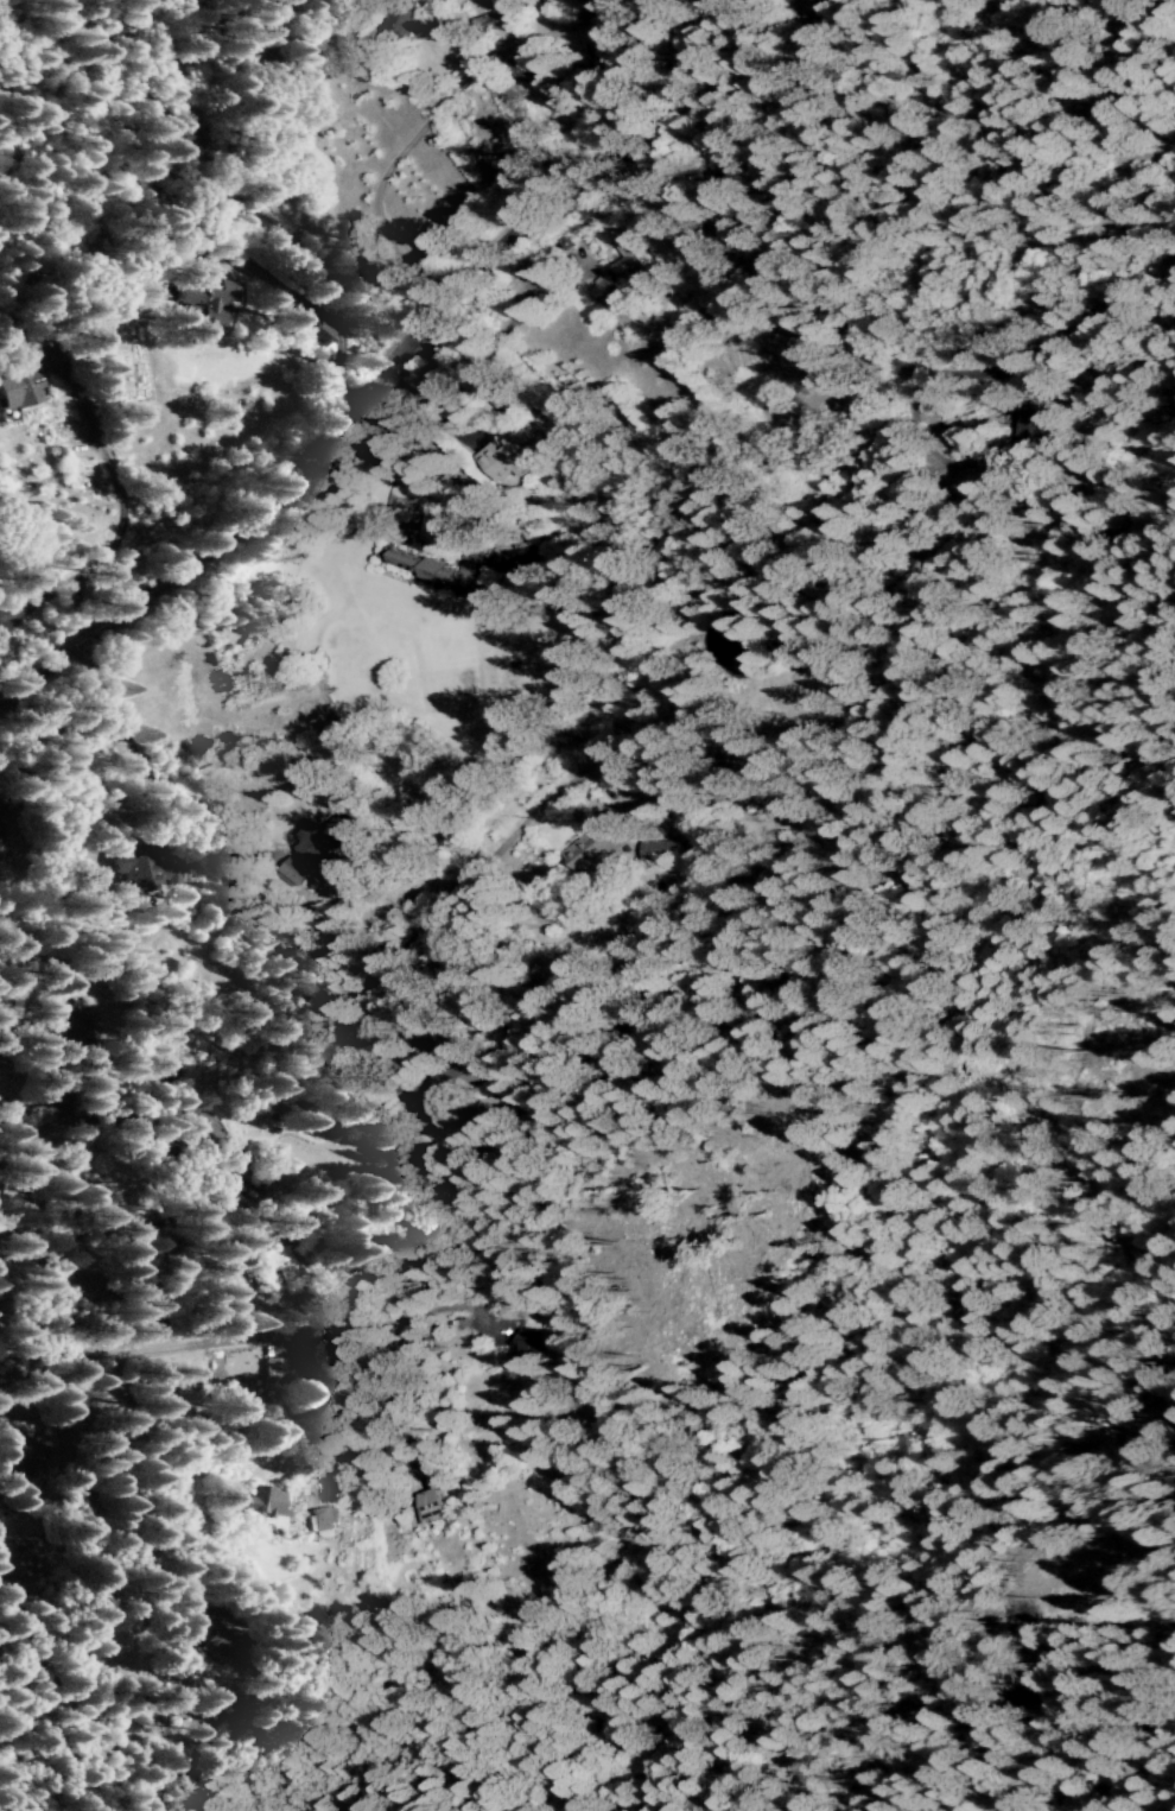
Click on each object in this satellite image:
building: (824, 8)
road: (642, 72)
road: (387, 165)
building: (634, 264)
building: (604, 291)
building: (197, 306)
road: (286, 331)
road: (875, 346)
building: (18, 388)
road: (318, 438)
building: (507, 452)
building: (438, 569)
building: (597, 844)
building: (142, 873)
road: (305, 977)
road: (57, 1306)
road: (267, 1328)
building: (529, 1348)
building: (272, 1383)
building: (260, 1505)
building: (432, 1506)
building: (320, 1519)

